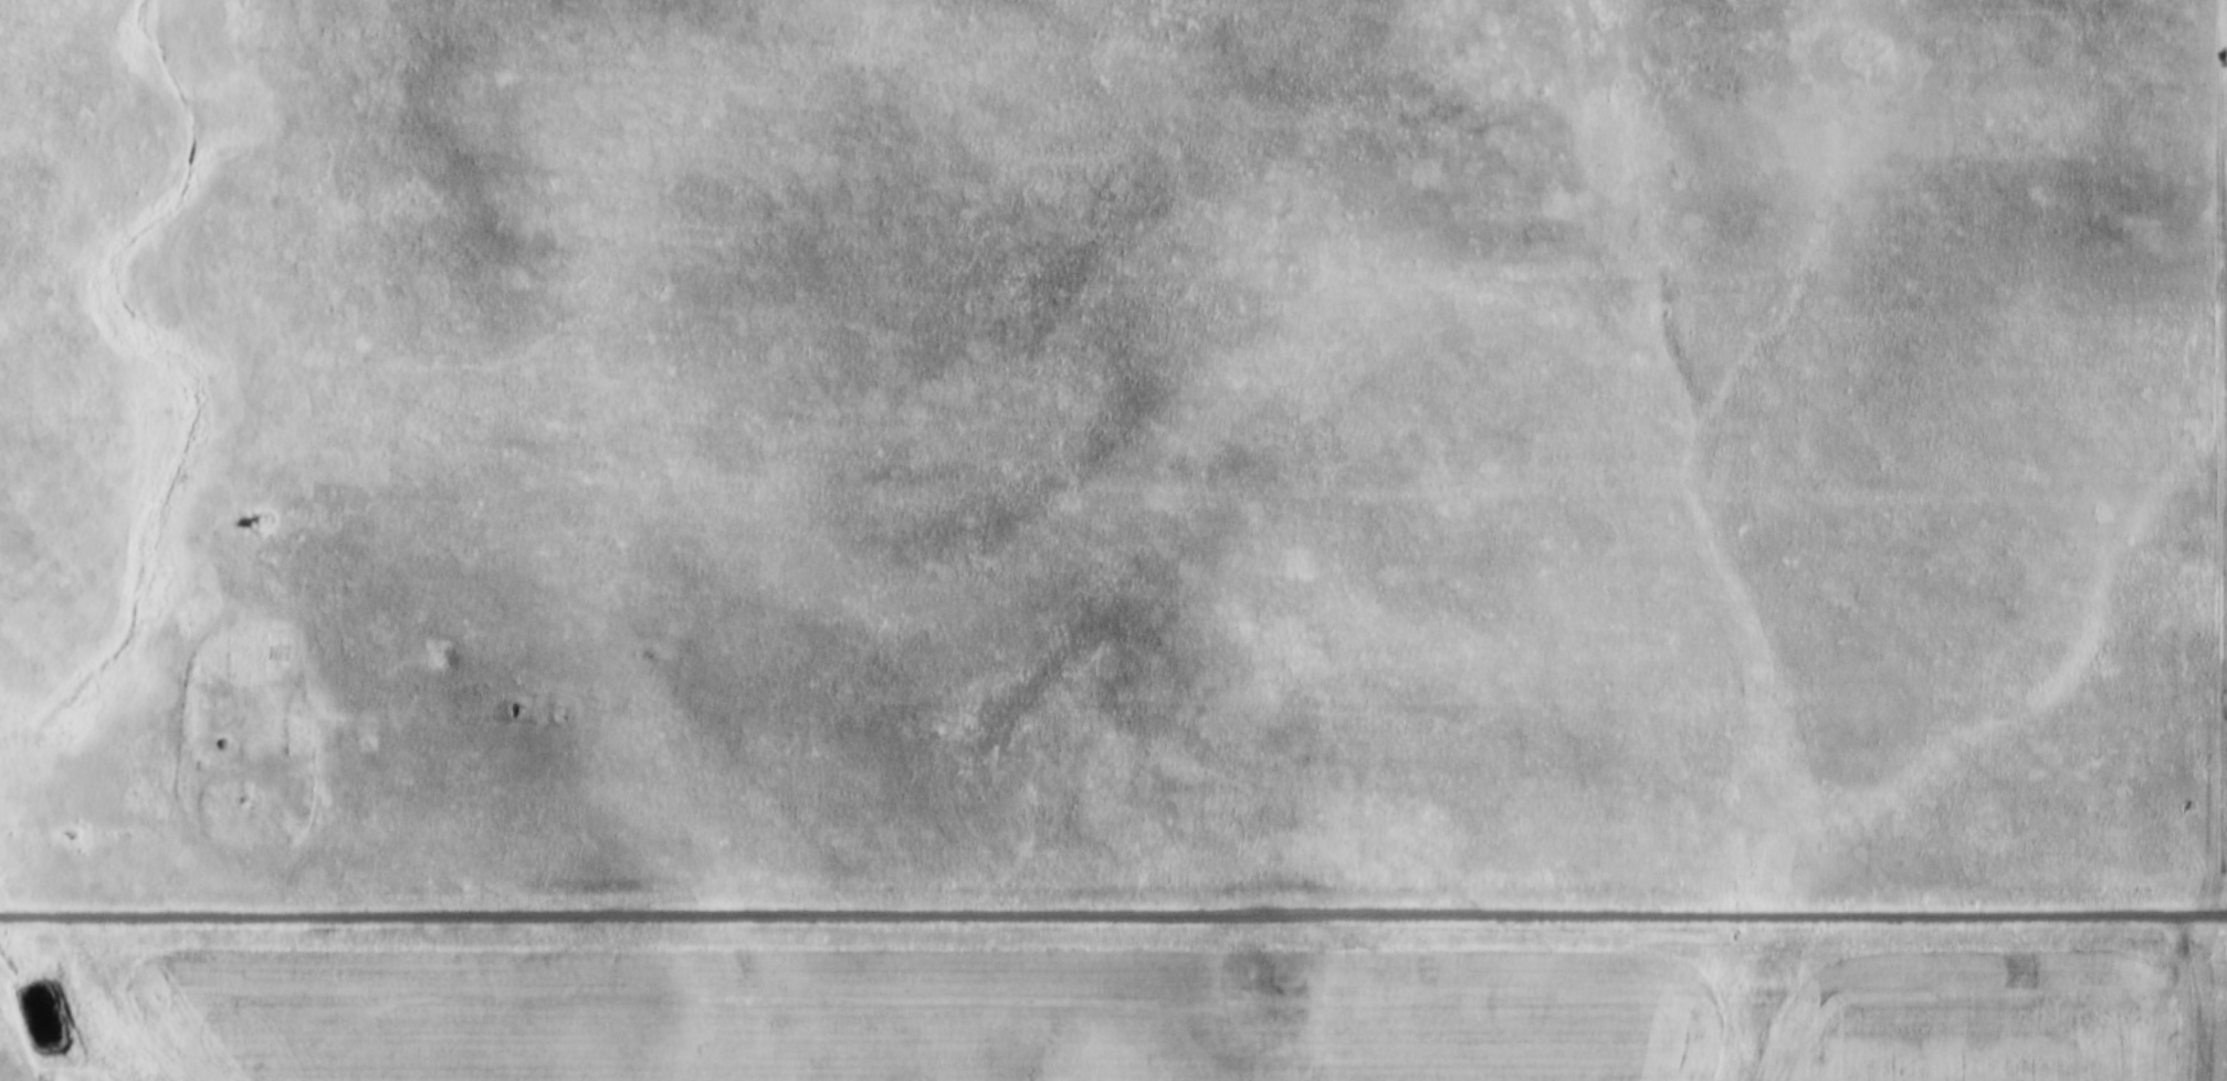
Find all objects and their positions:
road: (1113, 920)
road: (103, 1004)

